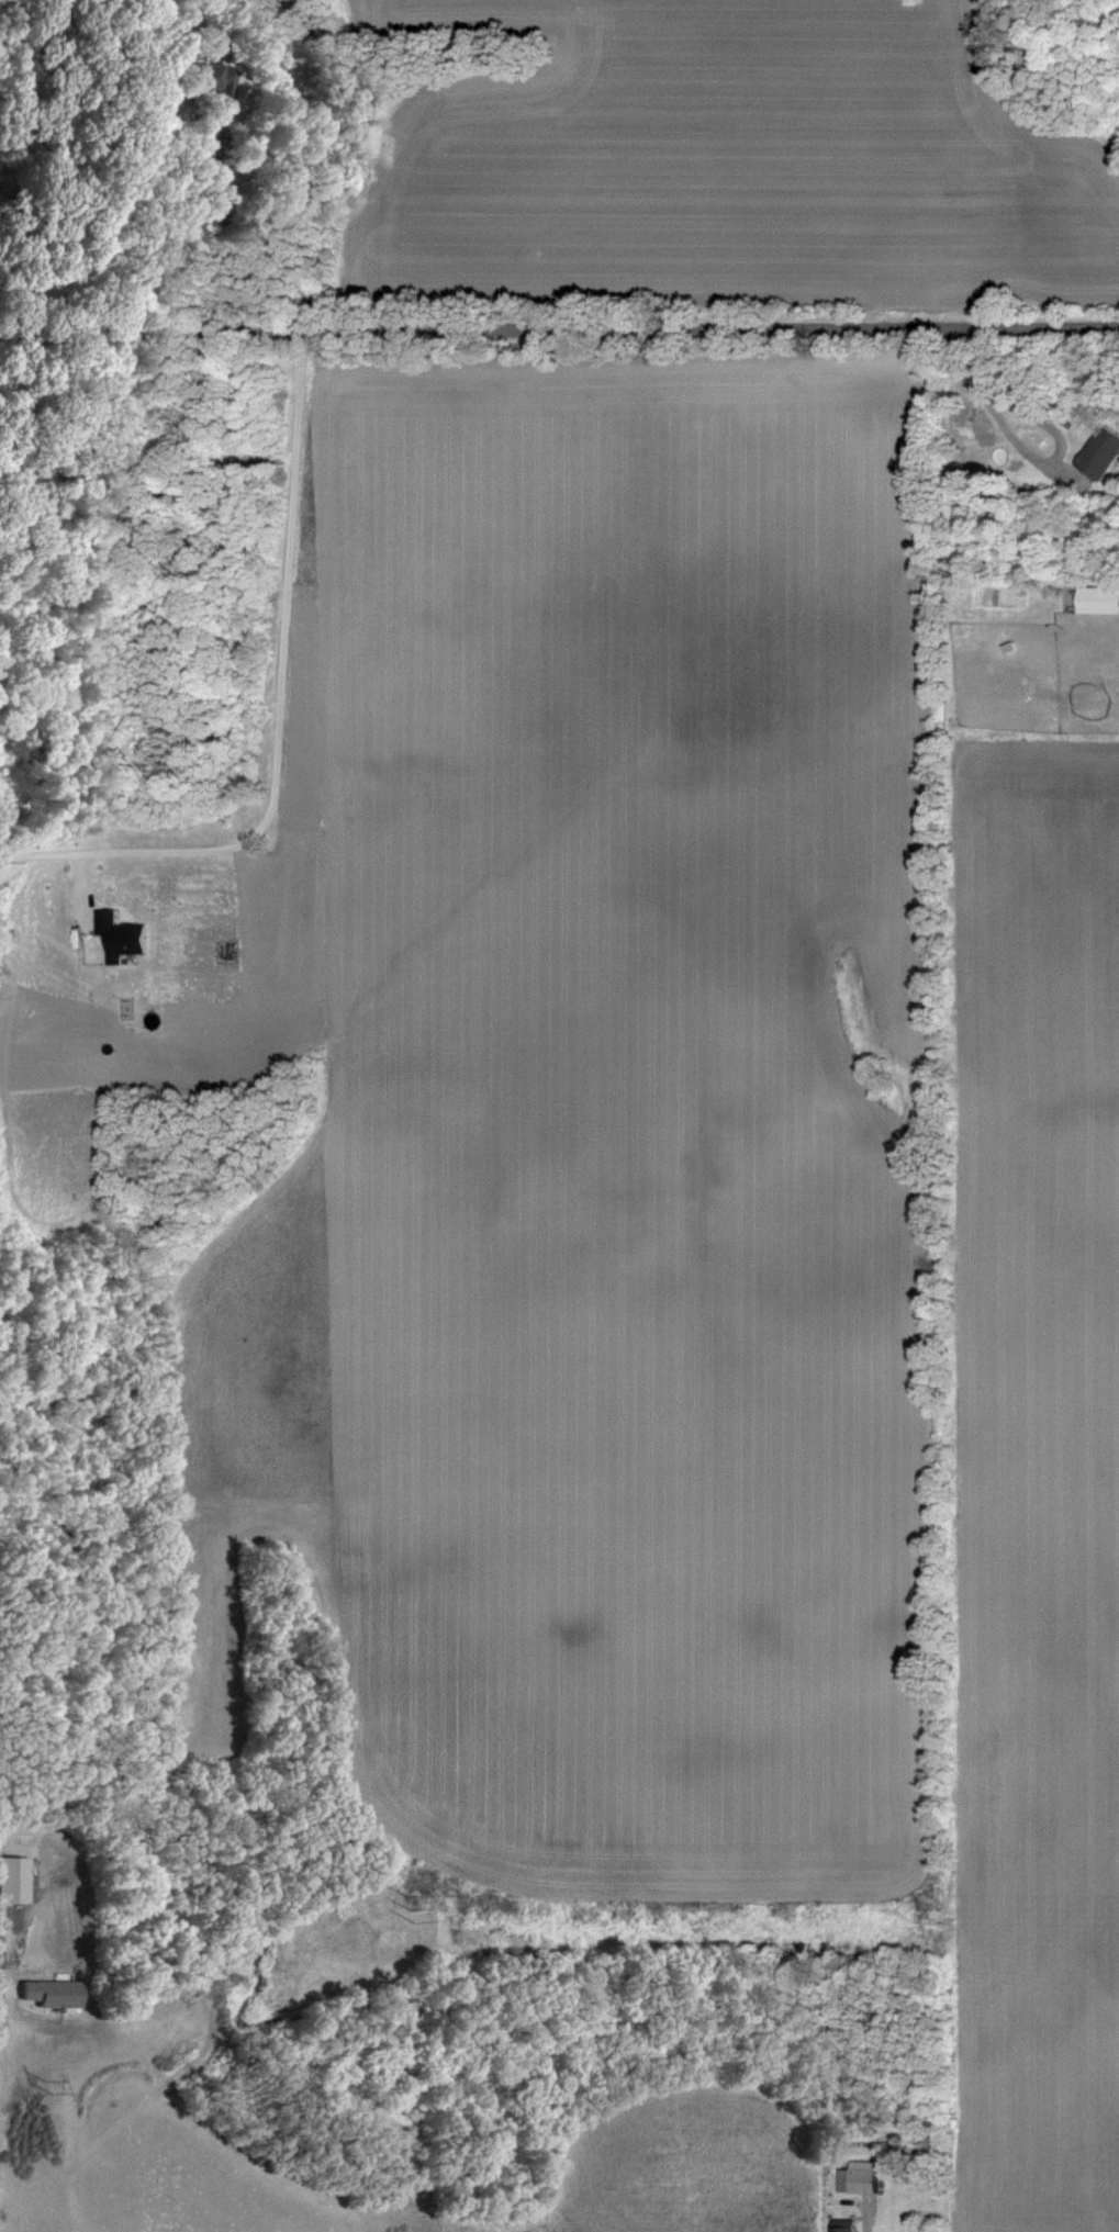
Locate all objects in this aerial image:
building: (208, 78)
road: (257, 158)
road: (1059, 173)
road: (559, 329)
road: (1023, 450)
building: (1097, 455)
building: (1097, 602)
road: (277, 713)
building: (118, 935)
building: (11, 1881)
power tower: (406, 1910)
power tower: (938, 1918)
building: (49, 1994)
power tower: (45, 2089)
building: (857, 2178)
building: (841, 2225)

